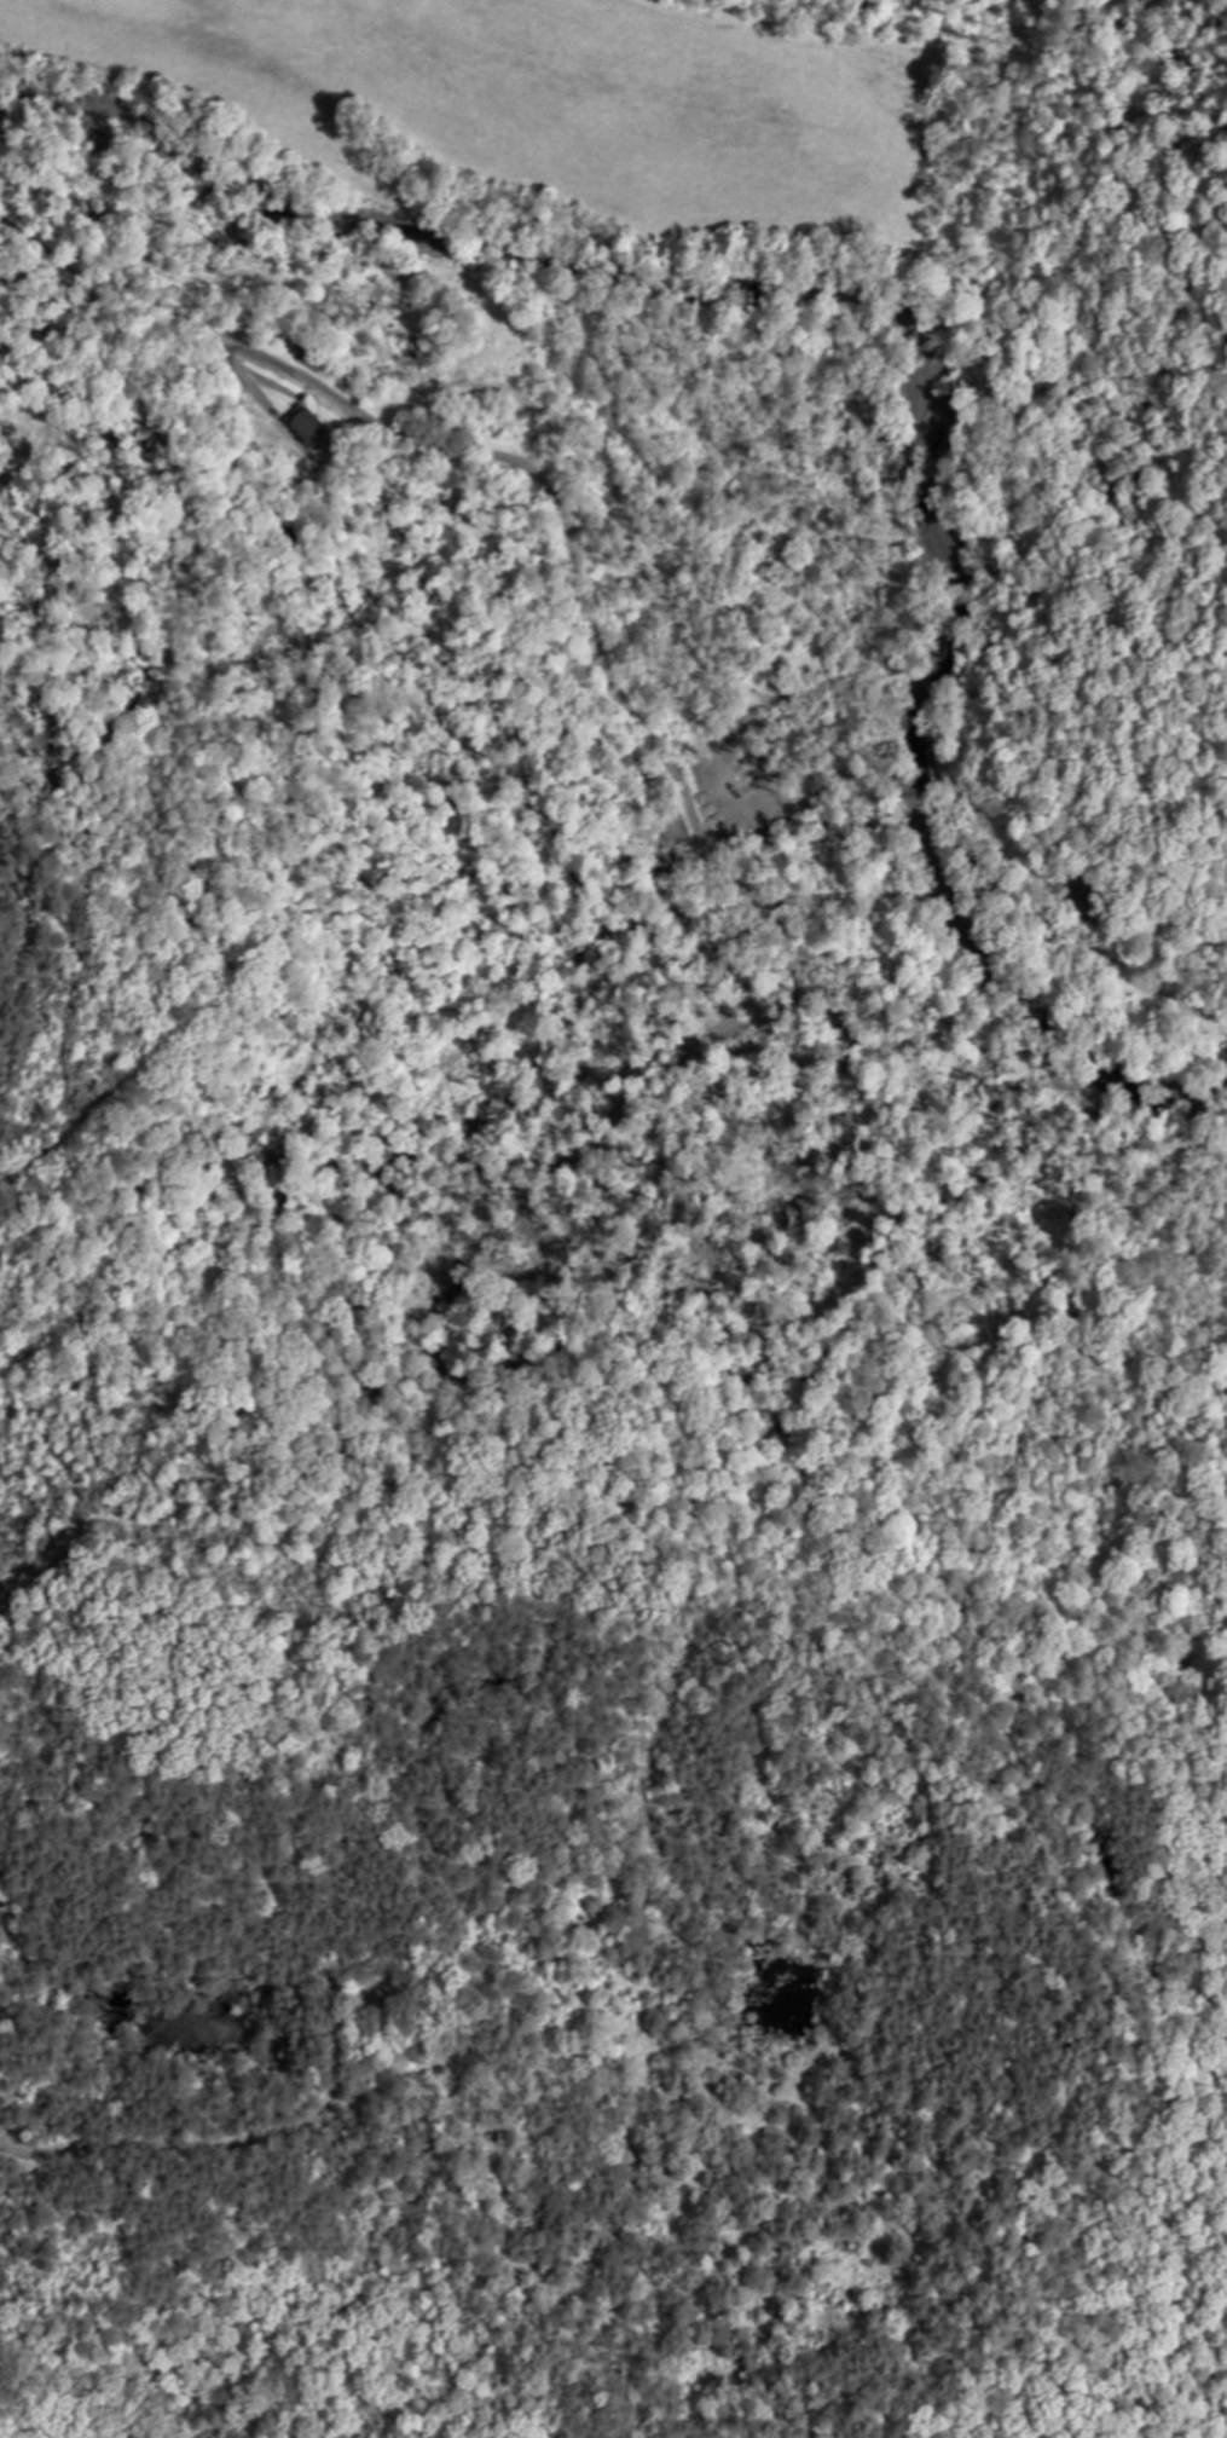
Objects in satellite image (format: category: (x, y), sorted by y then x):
building: (312, 431)
road: (602, 658)
road: (181, 2142)

